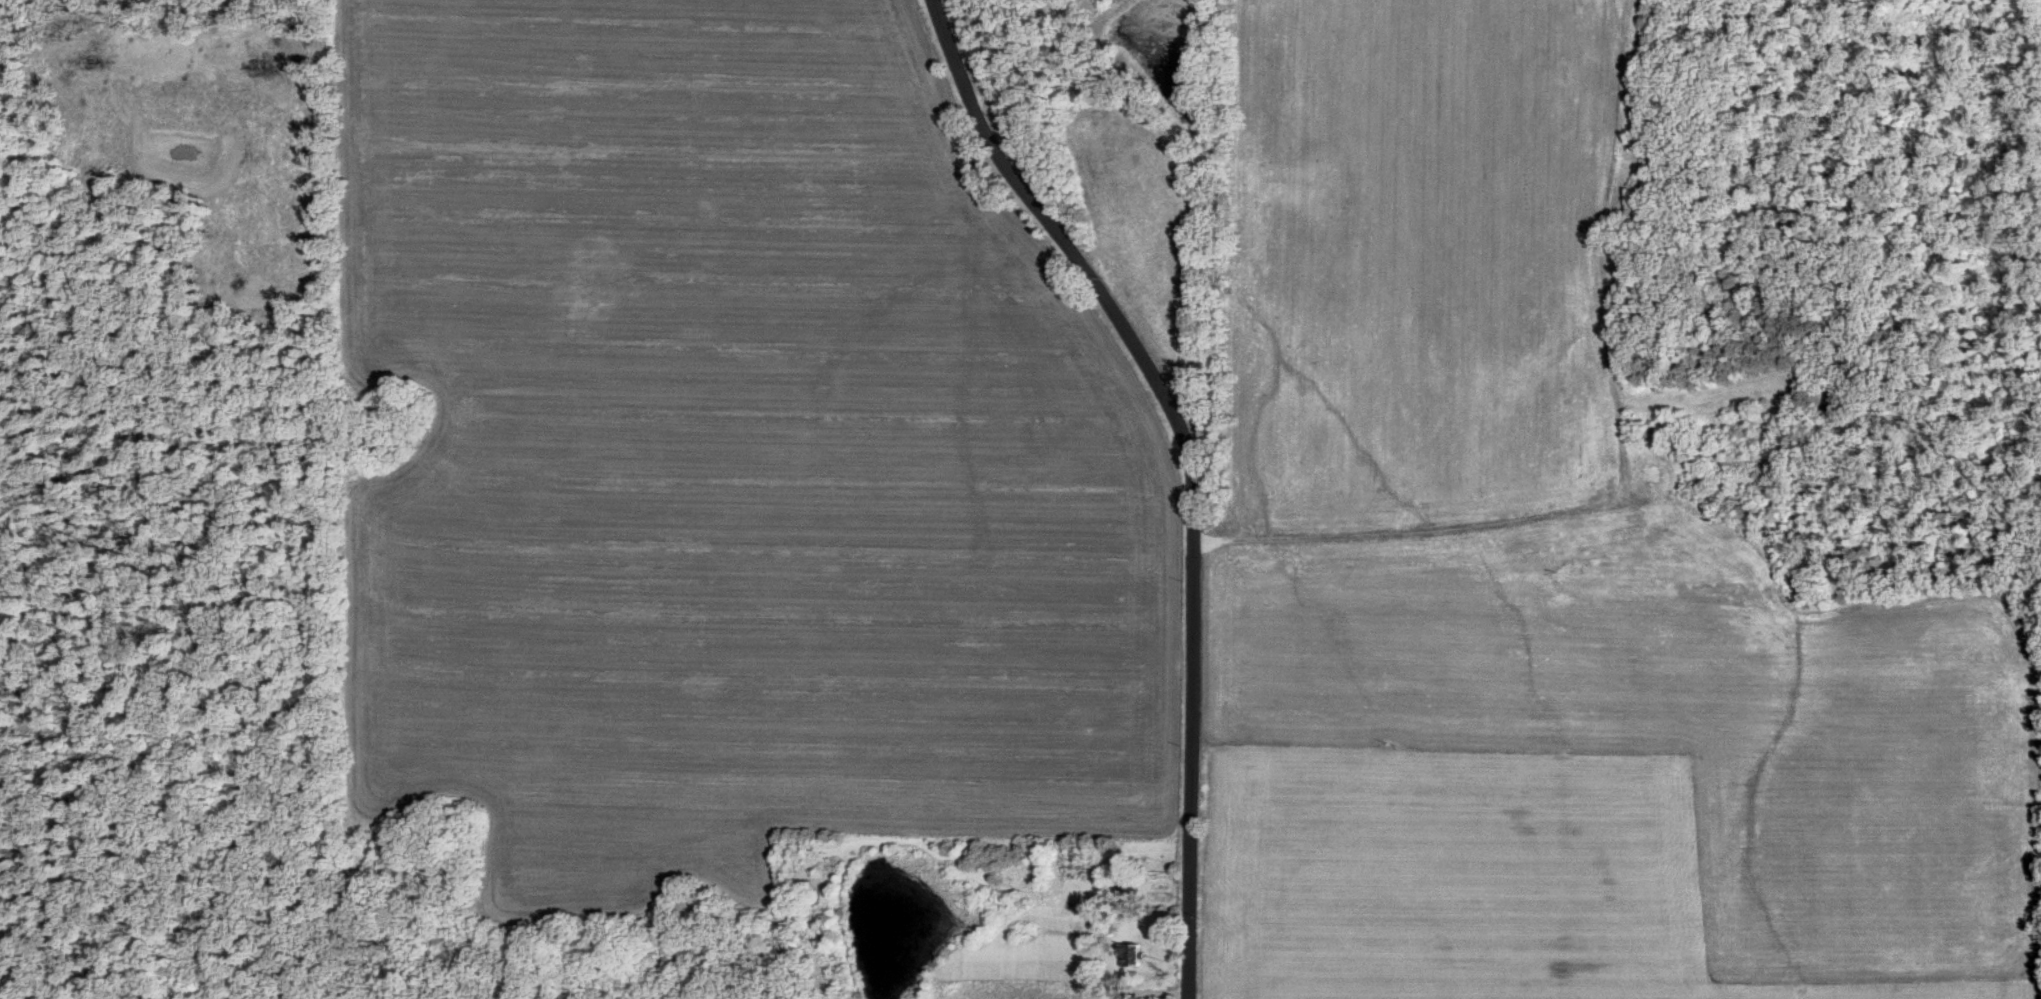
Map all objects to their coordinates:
road: (1191, 463)
building: (1647, 475)
road: (1415, 532)
building: (1626, 542)
building: (1125, 956)

